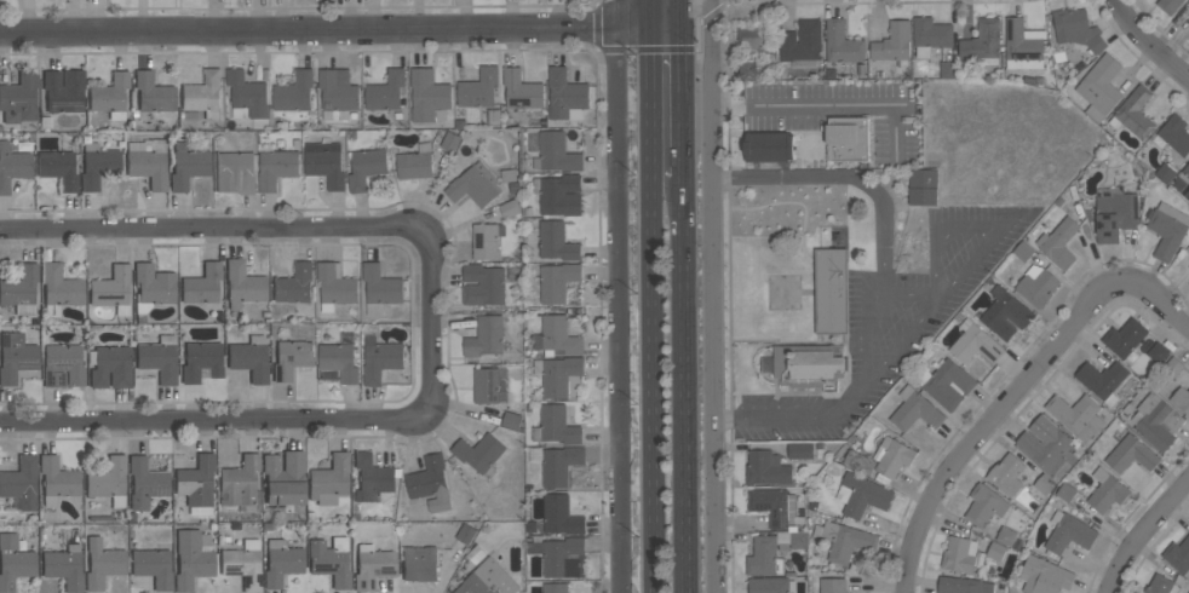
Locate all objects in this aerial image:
building: (1168, 5)
road: (678, 13)
road: (645, 27)
traffic signals: (645, 27)
traffic signals: (679, 28)
building: (1078, 29)
road: (306, 30)
building: (930, 35)
building: (753, 38)
building: (983, 40)
building: (802, 41)
road: (1149, 41)
building: (842, 44)
building: (894, 44)
building: (1023, 45)
building: (747, 69)
building: (947, 69)
building: (1099, 86)
building: (478, 88)
building: (522, 90)
building: (63, 91)
building: (386, 91)
building: (294, 92)
building: (338, 93)
building: (153, 94)
building: (247, 94)
building: (565, 94)
building: (110, 96)
building: (202, 96)
building: (429, 96)
building: (19, 99)
road: (680, 102)
road: (799, 105)
building: (1133, 113)
road: (737, 132)
building: (1173, 134)
building: (450, 142)
road: (729, 142)
park: (734, 142)
building: (812, 143)
building: (556, 152)
building: (324, 162)
building: (415, 162)
building: (148, 165)
building: (97, 166)
building: (12, 167)
building: (186, 167)
building: (366, 167)
building: (276, 168)
building: (58, 169)
building: (1187, 171)
building: (1165, 172)
building: (235, 173)
building: (475, 185)
building: (923, 186)
building: (559, 195)
building: (1187, 195)
building: (510, 208)
building: (1115, 215)
building: (1167, 230)
building: (487, 240)
building: (557, 241)
building: (1059, 243)
building: (1023, 251)
building: (1188, 252)
building: (557, 281)
building: (294, 284)
building: (482, 284)
building: (1036, 284)
building: (202, 286)
building: (243, 286)
building: (334, 287)
building: (380, 288)
road: (730, 288)
building: (21, 289)
building: (58, 289)
building: (111, 290)
building: (151, 290)
building: (832, 290)
road: (911, 292)
road: (647, 295)
road: (717, 295)
road: (615, 296)
building: (1005, 313)
road: (431, 326)
building: (486, 336)
building: (557, 336)
building: (1125, 338)
road: (757, 340)
road: (811, 342)
building: (975, 344)
building: (15, 357)
building: (291, 358)
building: (159, 359)
building: (249, 359)
building: (380, 359)
building: (339, 361)
building: (200, 362)
building: (810, 365)
building: (62, 367)
building: (109, 367)
building: (557, 375)
building: (1102, 379)
building: (948, 384)
building: (486, 385)
road: (683, 385)
road: (1016, 392)
building: (1181, 398)
building: (915, 410)
building: (1076, 415)
building: (512, 420)
building: (1156, 421)
building: (556, 426)
building: (1044, 442)
building: (800, 450)
building: (479, 451)
building: (1130, 454)
building: (894, 457)
building: (860, 462)
building: (557, 464)
building: (766, 468)
building: (1006, 473)
building: (372, 478)
building: (283, 479)
building: (57, 480)
building: (328, 480)
building: (108, 482)
building: (21, 483)
building: (239, 483)
building: (430, 483)
building: (145, 484)
building: (196, 484)
building: (1044, 484)
building: (1065, 491)
building: (1107, 491)
building: (862, 495)
building: (772, 505)
building: (984, 505)
building: (561, 516)
building: (1069, 532)
road: (1142, 532)
building: (466, 534)
building: (1006, 536)
building: (799, 540)
building: (844, 540)
building: (995, 551)
building: (559, 554)
building: (960, 554)
building: (1178, 555)
building: (762, 557)
building: (191, 558)
building: (329, 562)
building: (13, 563)
building: (281, 563)
building: (419, 563)
building: (102, 564)
building: (242, 565)
building: (372, 566)
building: (63, 568)
building: (153, 568)
building: (1044, 576)
building: (488, 580)
building: (770, 585)
building: (963, 585)
building: (1159, 585)
building: (833, 586)
building: (555, 587)

